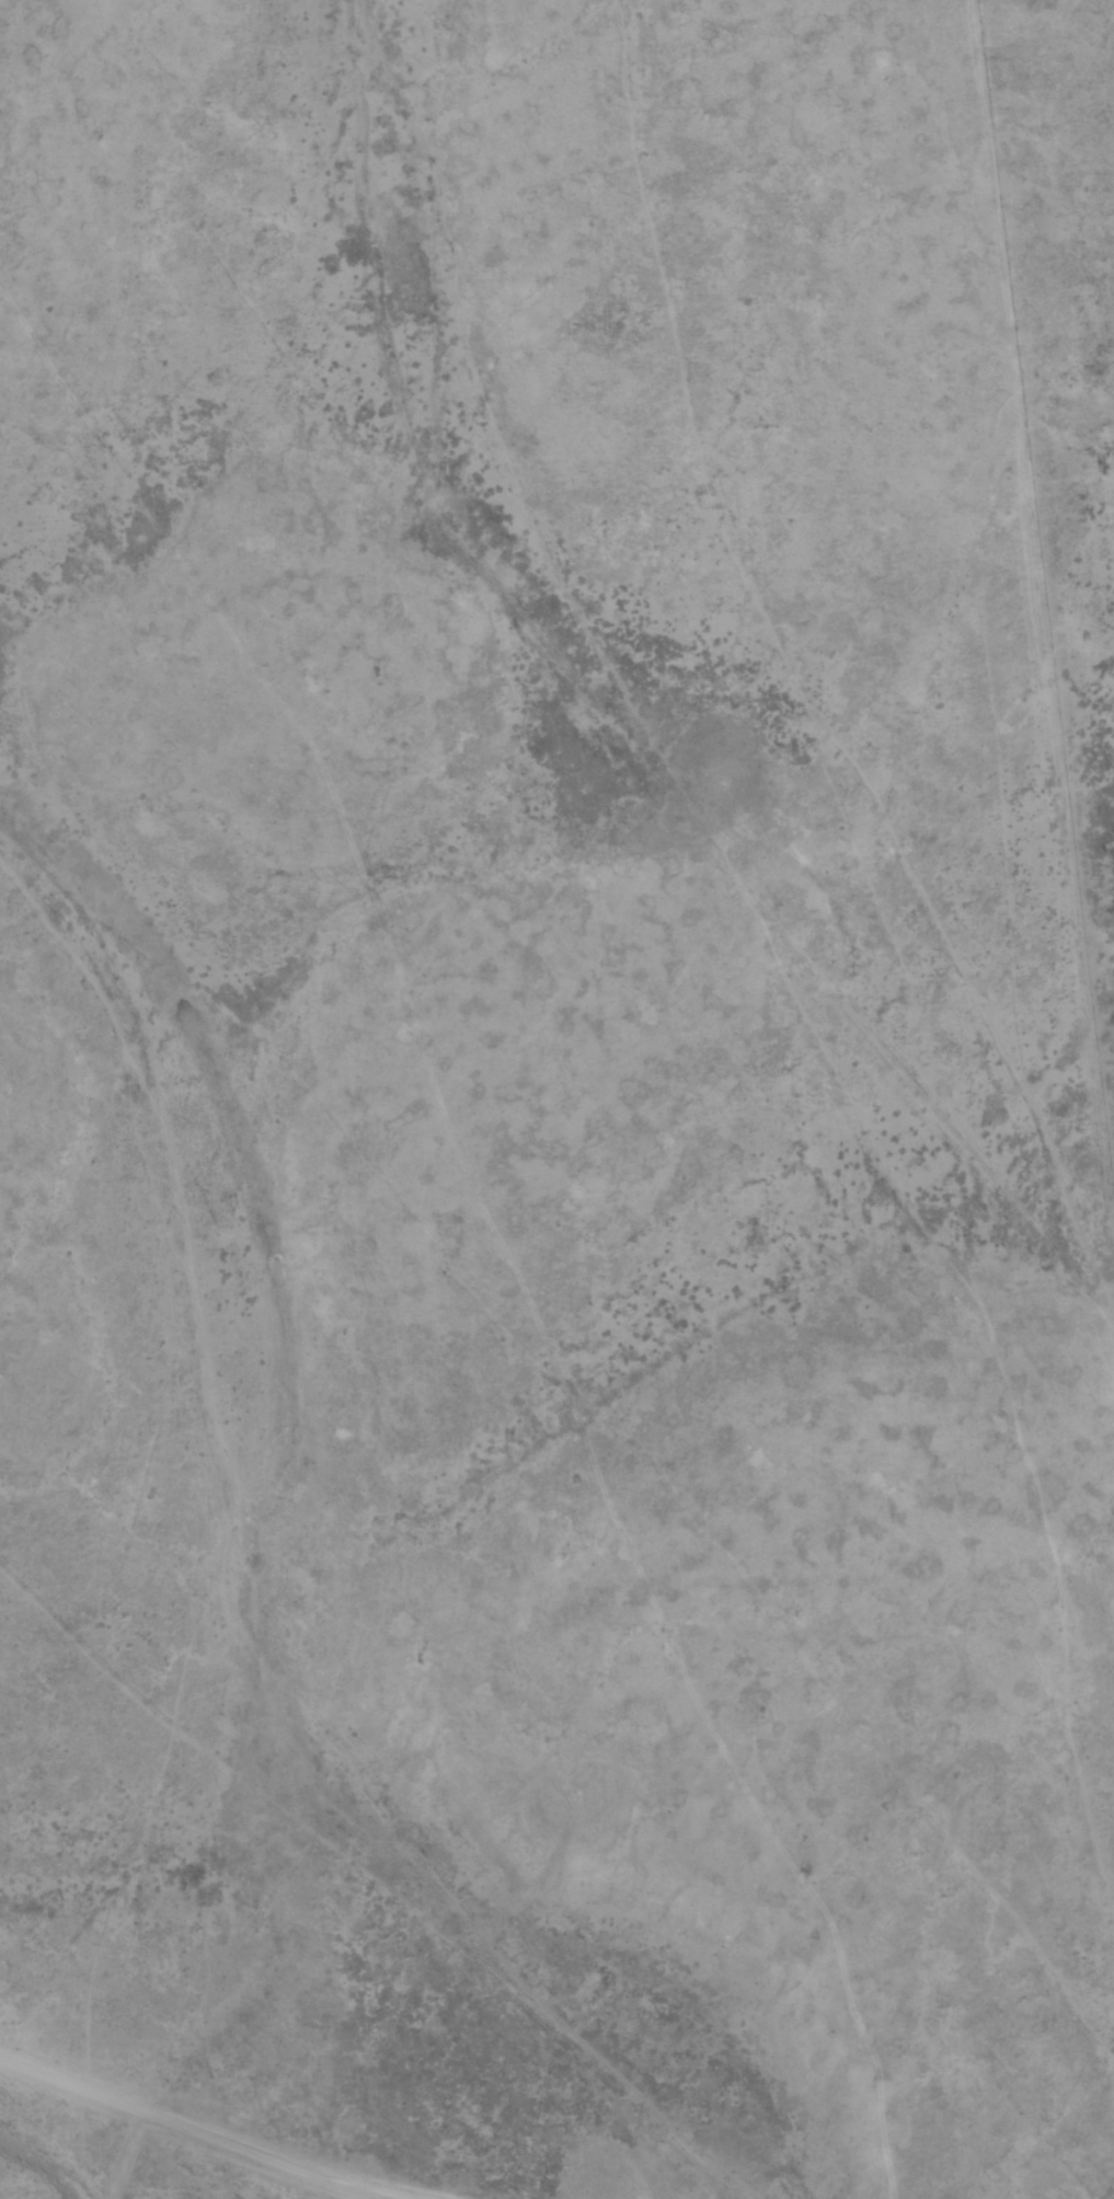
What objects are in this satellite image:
road: (194, 2138)
river: (48, 2161)

